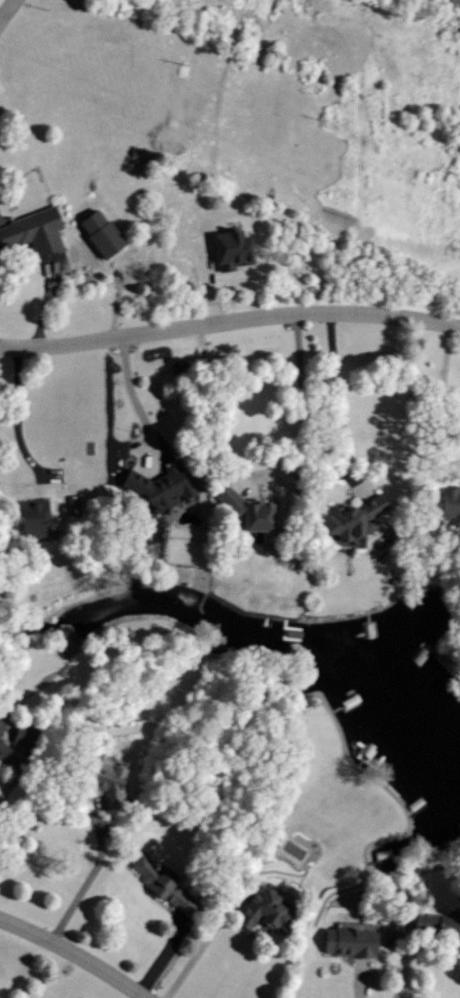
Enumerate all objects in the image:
road: (7, 10)
building: (31, 232)
building: (228, 250)
road: (229, 320)
road: (336, 396)
road: (133, 398)
road: (440, 402)
road: (303, 408)
road: (15, 413)
building: (156, 487)
building: (449, 504)
building: (243, 511)
building: (28, 517)
building: (349, 519)
building: (67, 640)
building: (0, 722)
building: (20, 732)
building: (2, 748)
building: (103, 774)
road: (9, 783)
road: (88, 874)
building: (158, 882)
building: (258, 908)
building: (435, 925)
building: (347, 941)
road: (74, 954)
road: (191, 957)
road: (356, 981)

